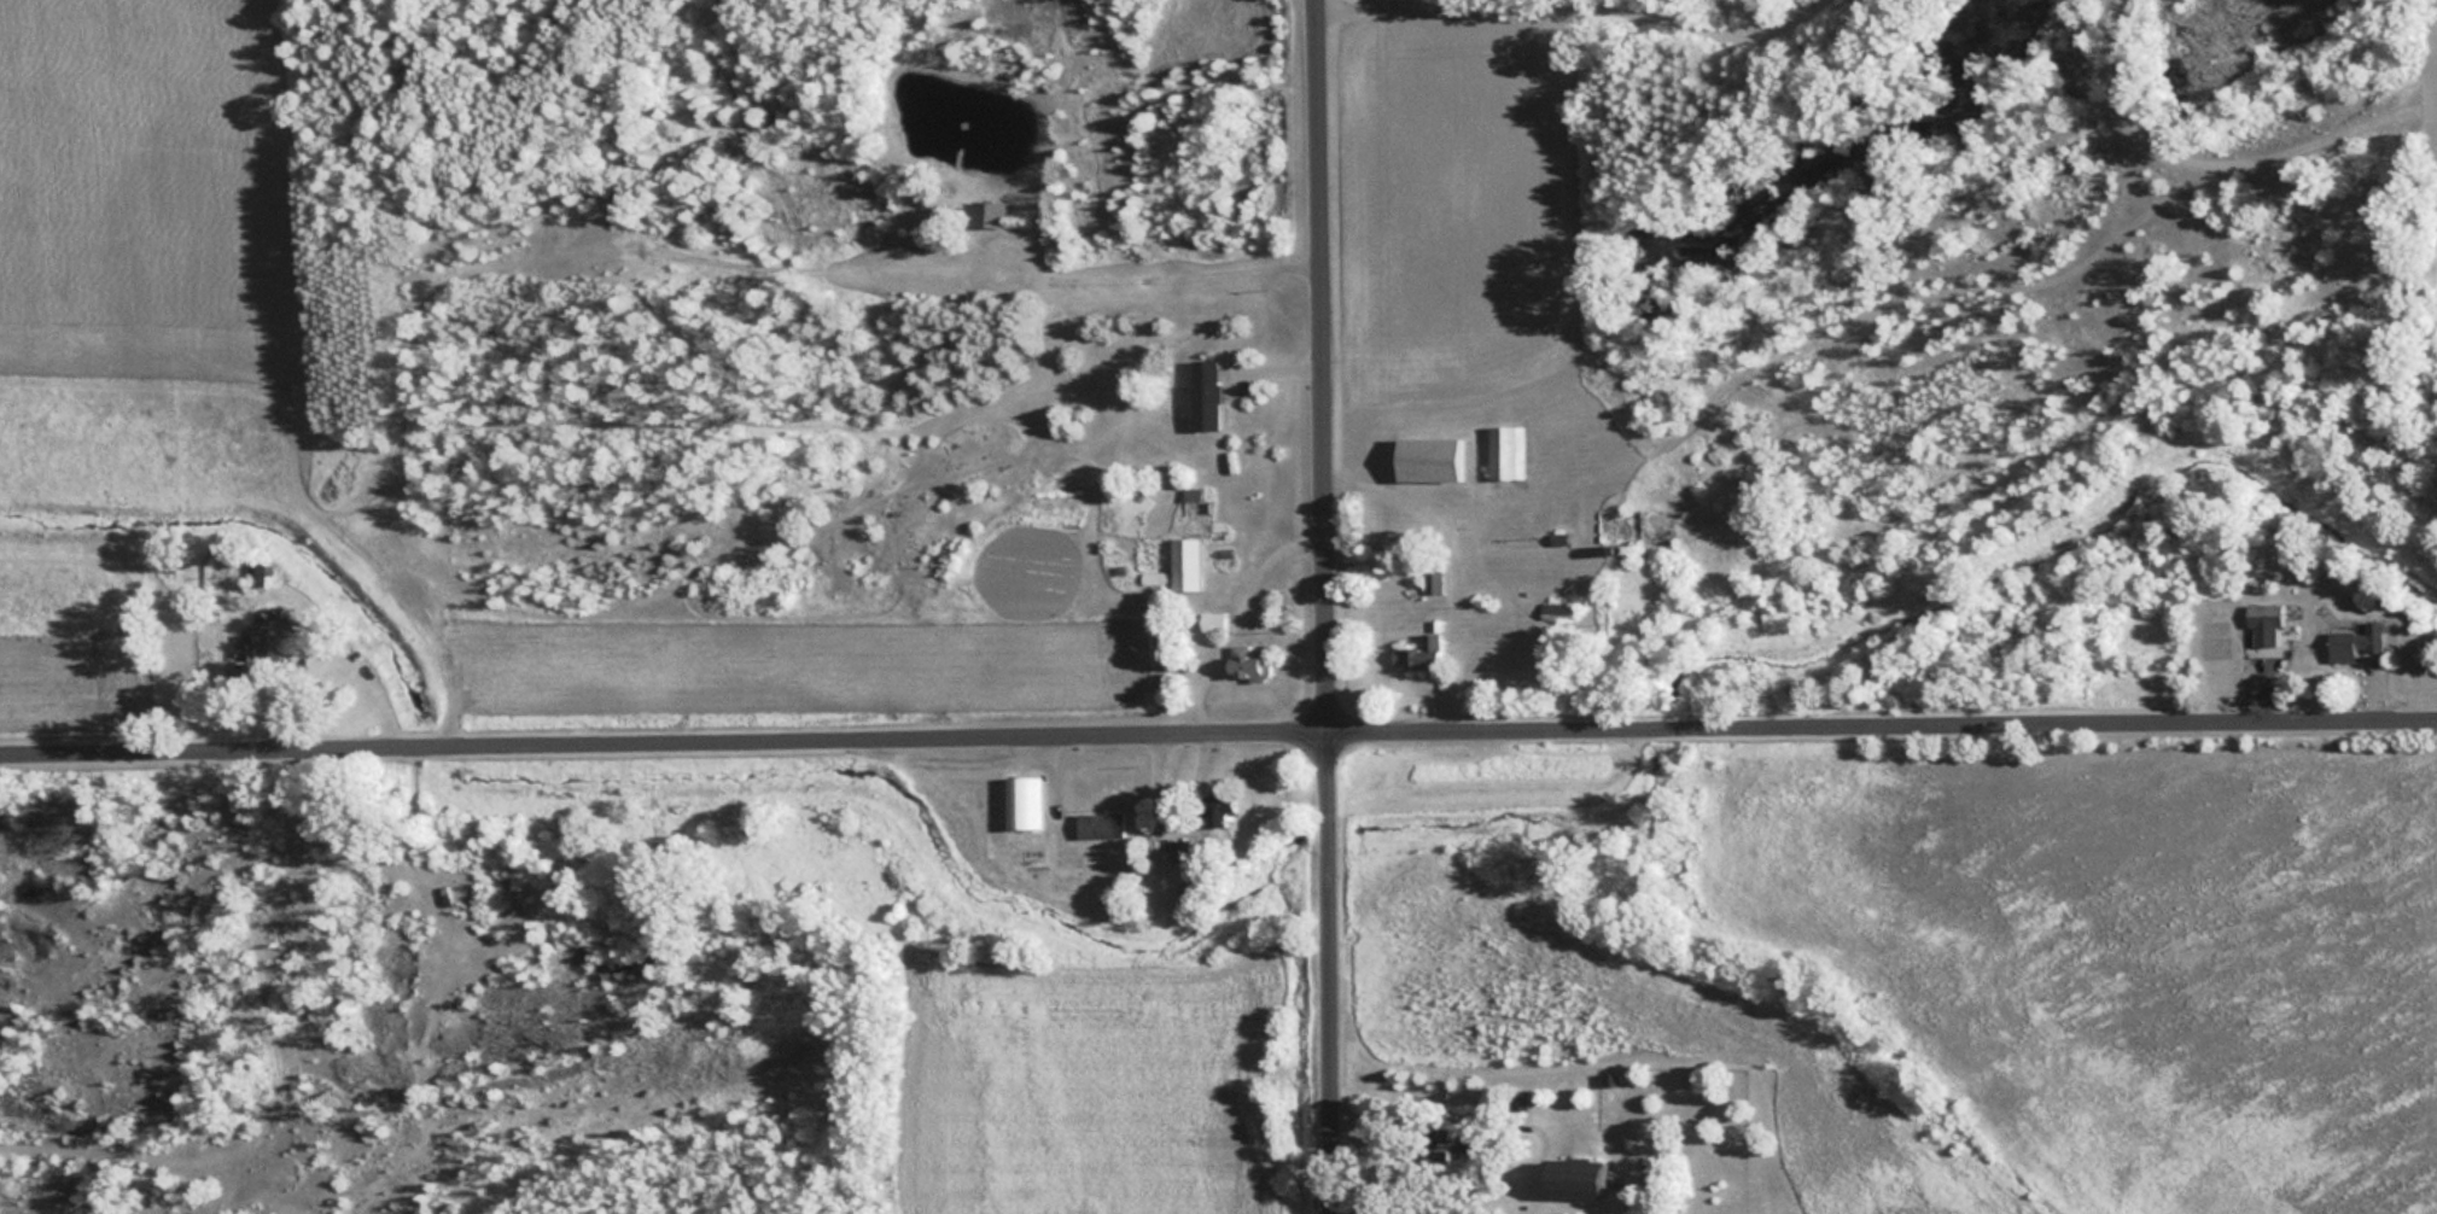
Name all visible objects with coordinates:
building: (985, 214)
road: (1800, 360)
building: (1203, 395)
building: (1564, 420)
building: (1505, 453)
building: (1428, 459)
building: (1628, 530)
building: (1185, 564)
building: (255, 574)
building: (1433, 580)
road: (1328, 607)
building: (2263, 614)
building: (260, 617)
building: (1214, 620)
building: (2351, 643)
building: (1423, 654)
building: (1249, 663)
road: (1218, 737)
building: (1022, 801)
building: (1217, 806)
building: (1100, 824)
building: (1179, 850)
building: (1520, 1097)
building: (1441, 1145)
building: (1572, 1179)

